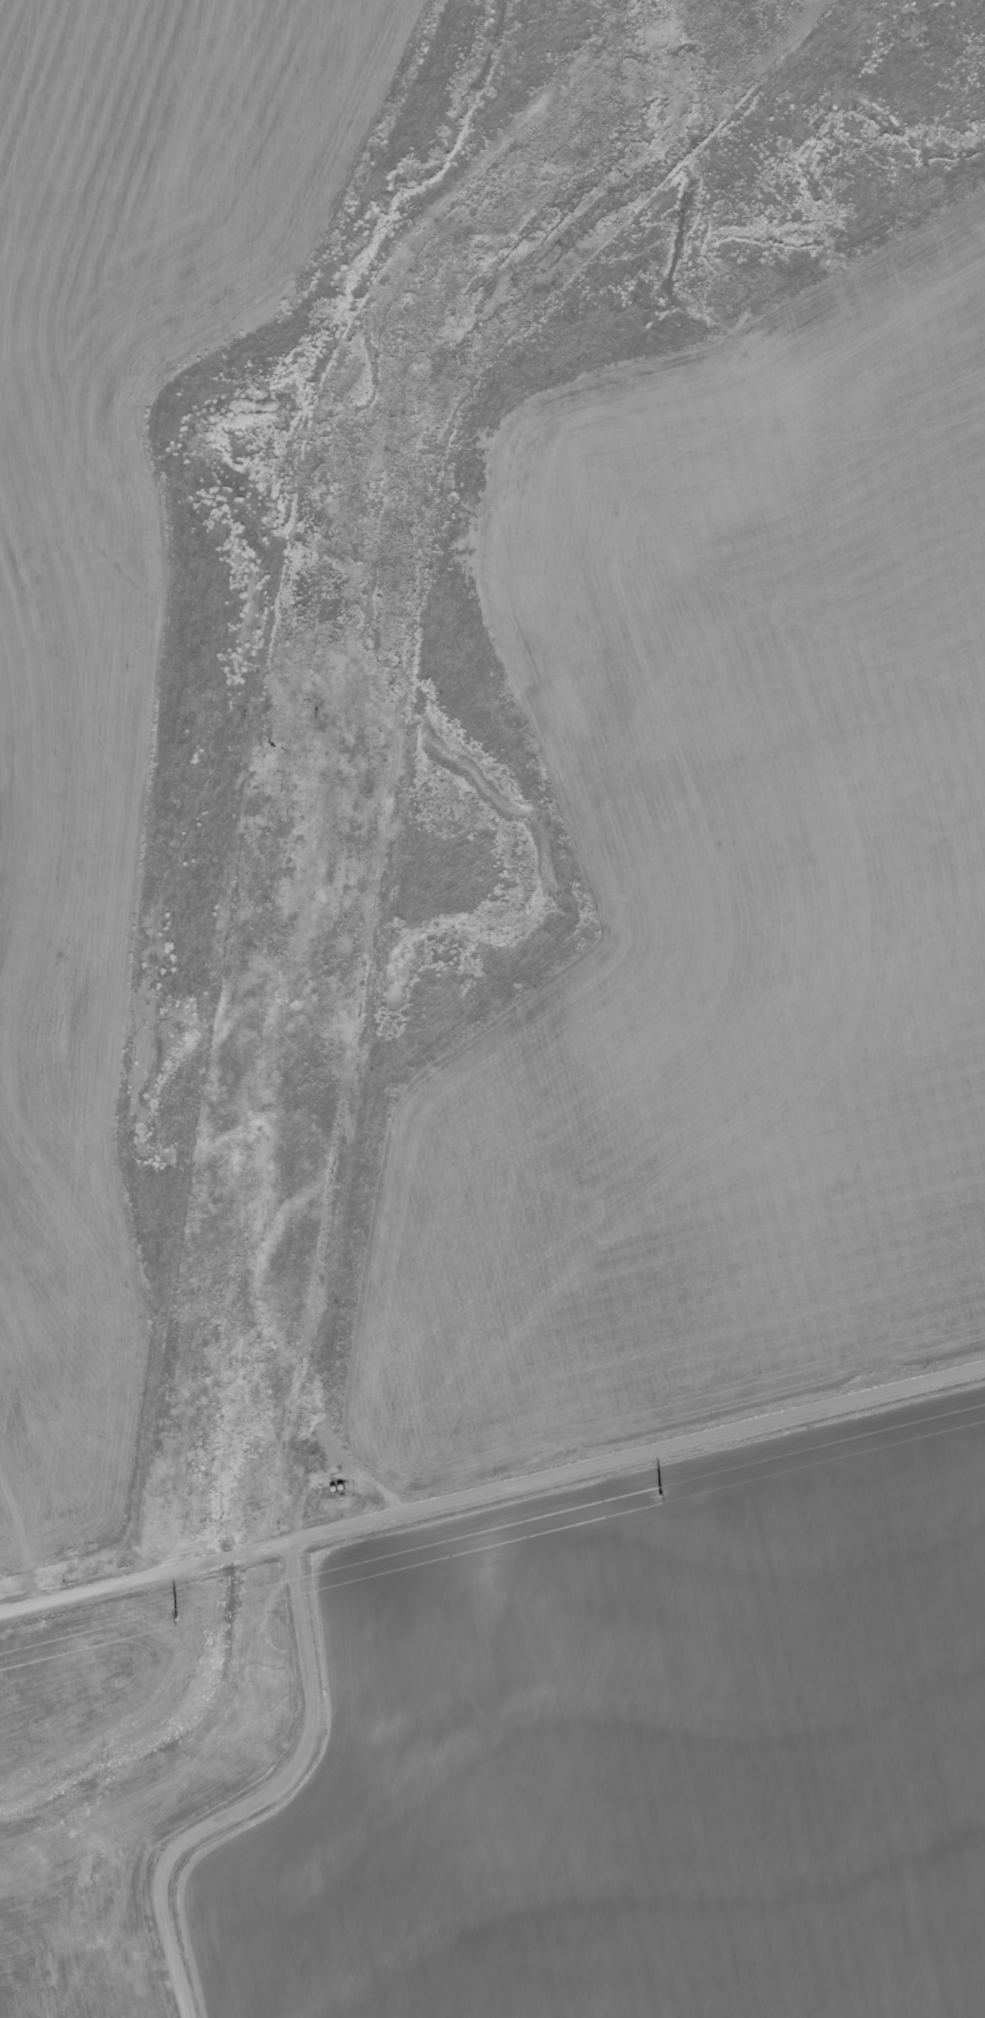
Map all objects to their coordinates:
road: (492, 1486)
power tower: (661, 1495)
power tower: (176, 1618)
road: (270, 1796)

